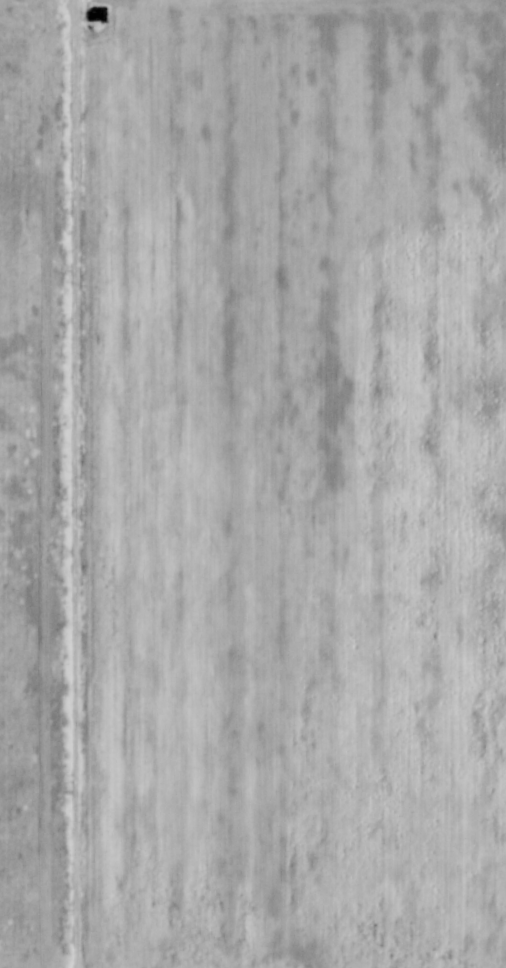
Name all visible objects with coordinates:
crop: (253, 484)

